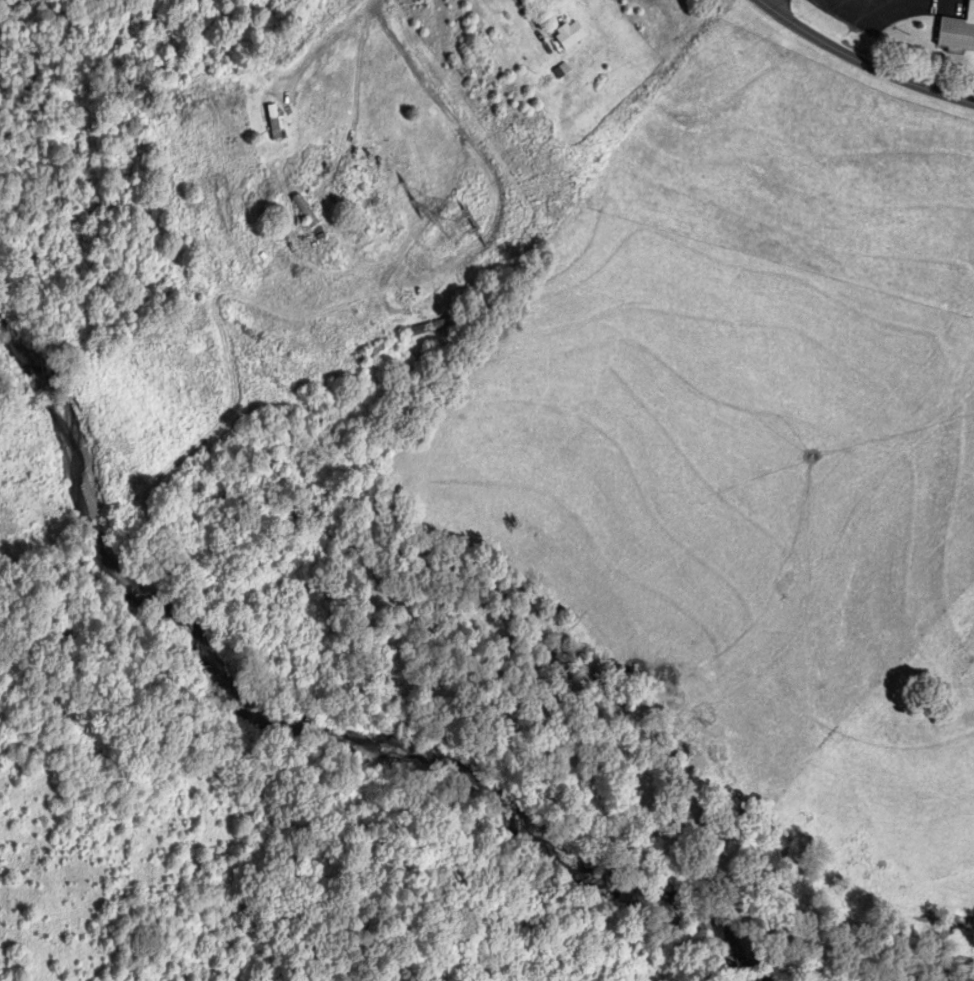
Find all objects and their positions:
road: (767, 2)
building: (570, 35)
building: (956, 36)
road: (326, 40)
road: (862, 61)
road: (412, 68)
building: (273, 123)
building: (301, 205)
power tower: (460, 224)
road: (406, 311)
building: (426, 329)
building: (372, 354)
building: (430, 356)
building: (360, 381)

